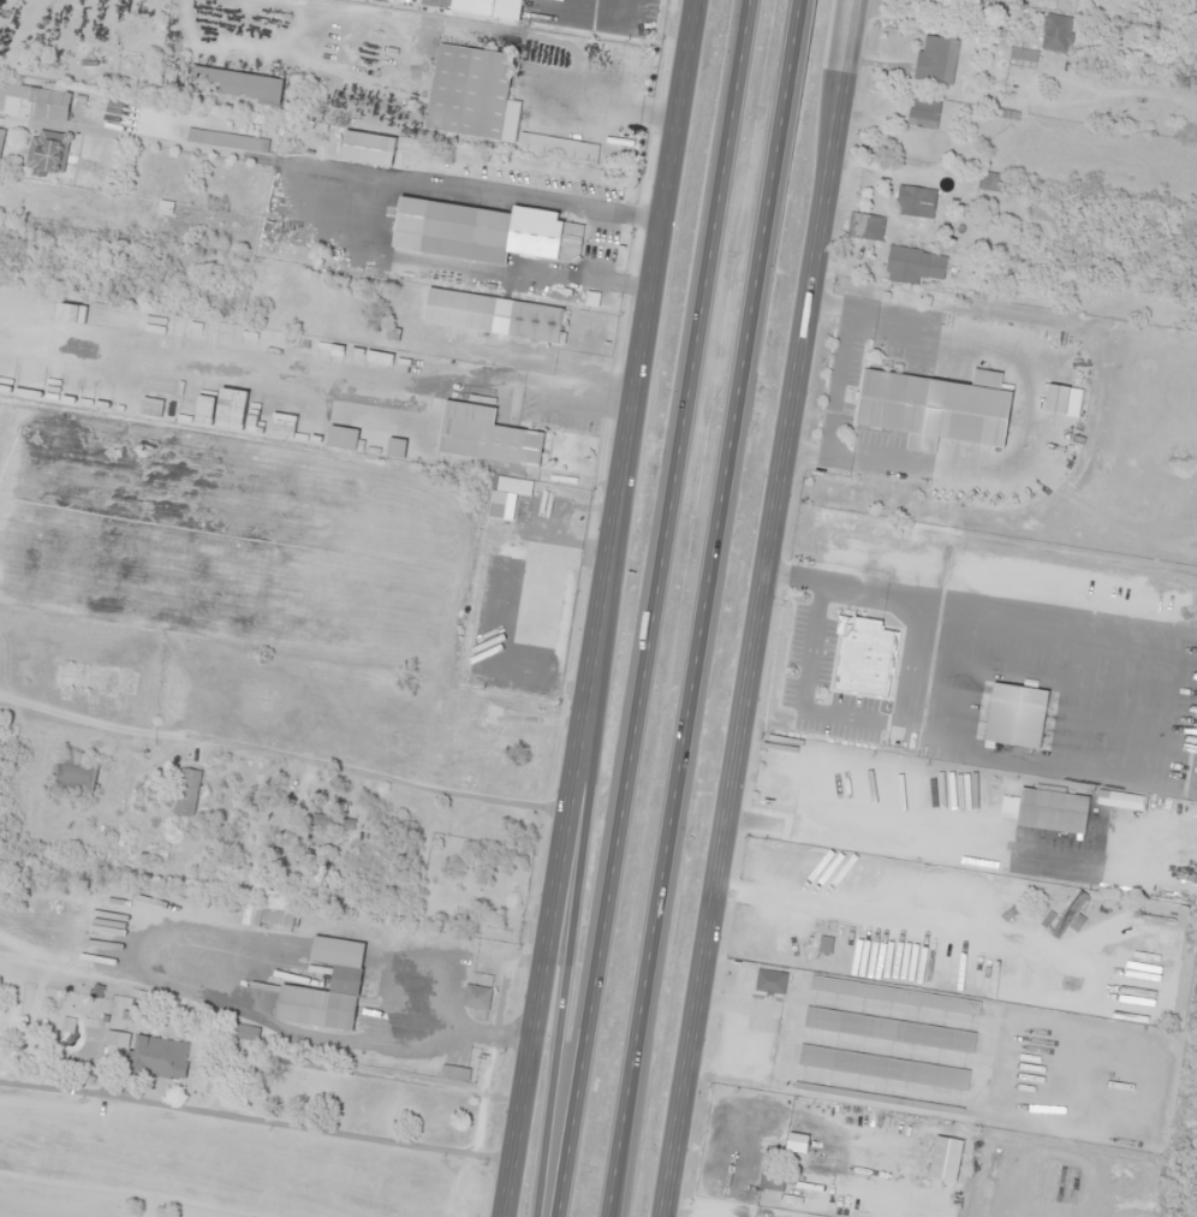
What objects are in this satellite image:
building: (1055, 32)
building: (936, 59)
building: (242, 84)
building: (472, 94)
building: (34, 102)
building: (923, 113)
building: (1, 141)
building: (558, 148)
building: (48, 150)
building: (993, 182)
building: (916, 202)
building: (868, 226)
building: (484, 232)
building: (913, 266)
building: (532, 320)
building: (1058, 399)
building: (151, 408)
building: (937, 408)
building: (486, 435)
building: (343, 438)
building: (395, 447)
building: (510, 499)
building: (522, 574)
road: (713, 590)
road: (602, 607)
road: (761, 607)
road: (656, 608)
building: (874, 670)
building: (94, 678)
building: (489, 735)
building: (73, 776)
building: (186, 792)
building: (961, 797)
building: (1053, 811)
road: (584, 873)
building: (1070, 916)
building: (826, 945)
building: (346, 974)
building: (769, 981)
building: (476, 996)
building: (889, 1029)
building: (160, 1057)
building: (883, 1067)
building: (772, 1177)
road: (614, 1199)
road: (615, 1199)
building: (883, 1216)

